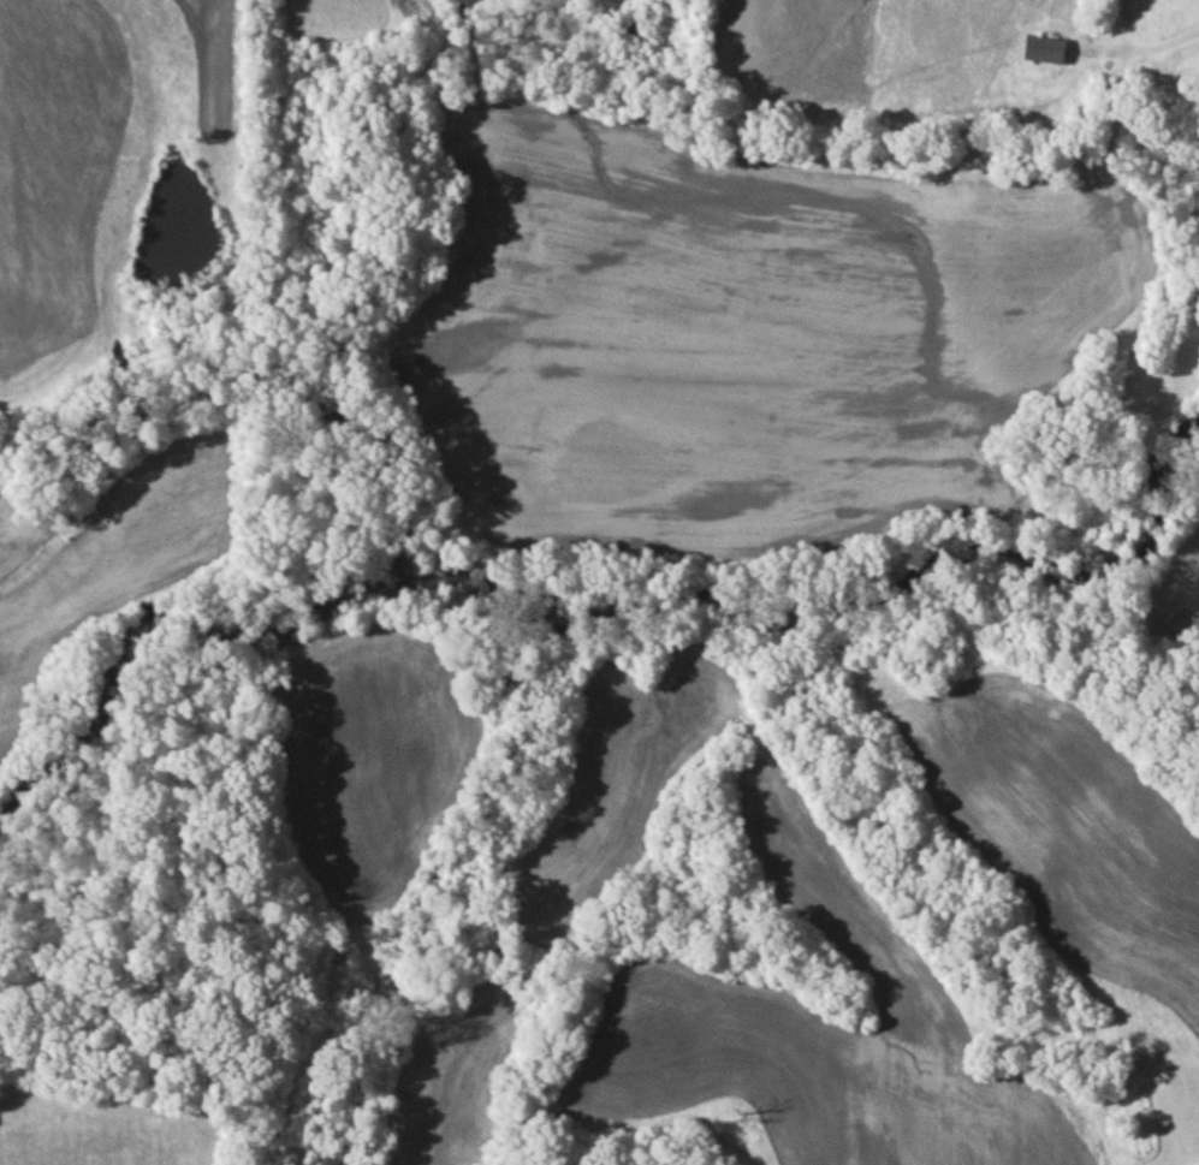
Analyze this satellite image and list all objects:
building: (1045, 49)

